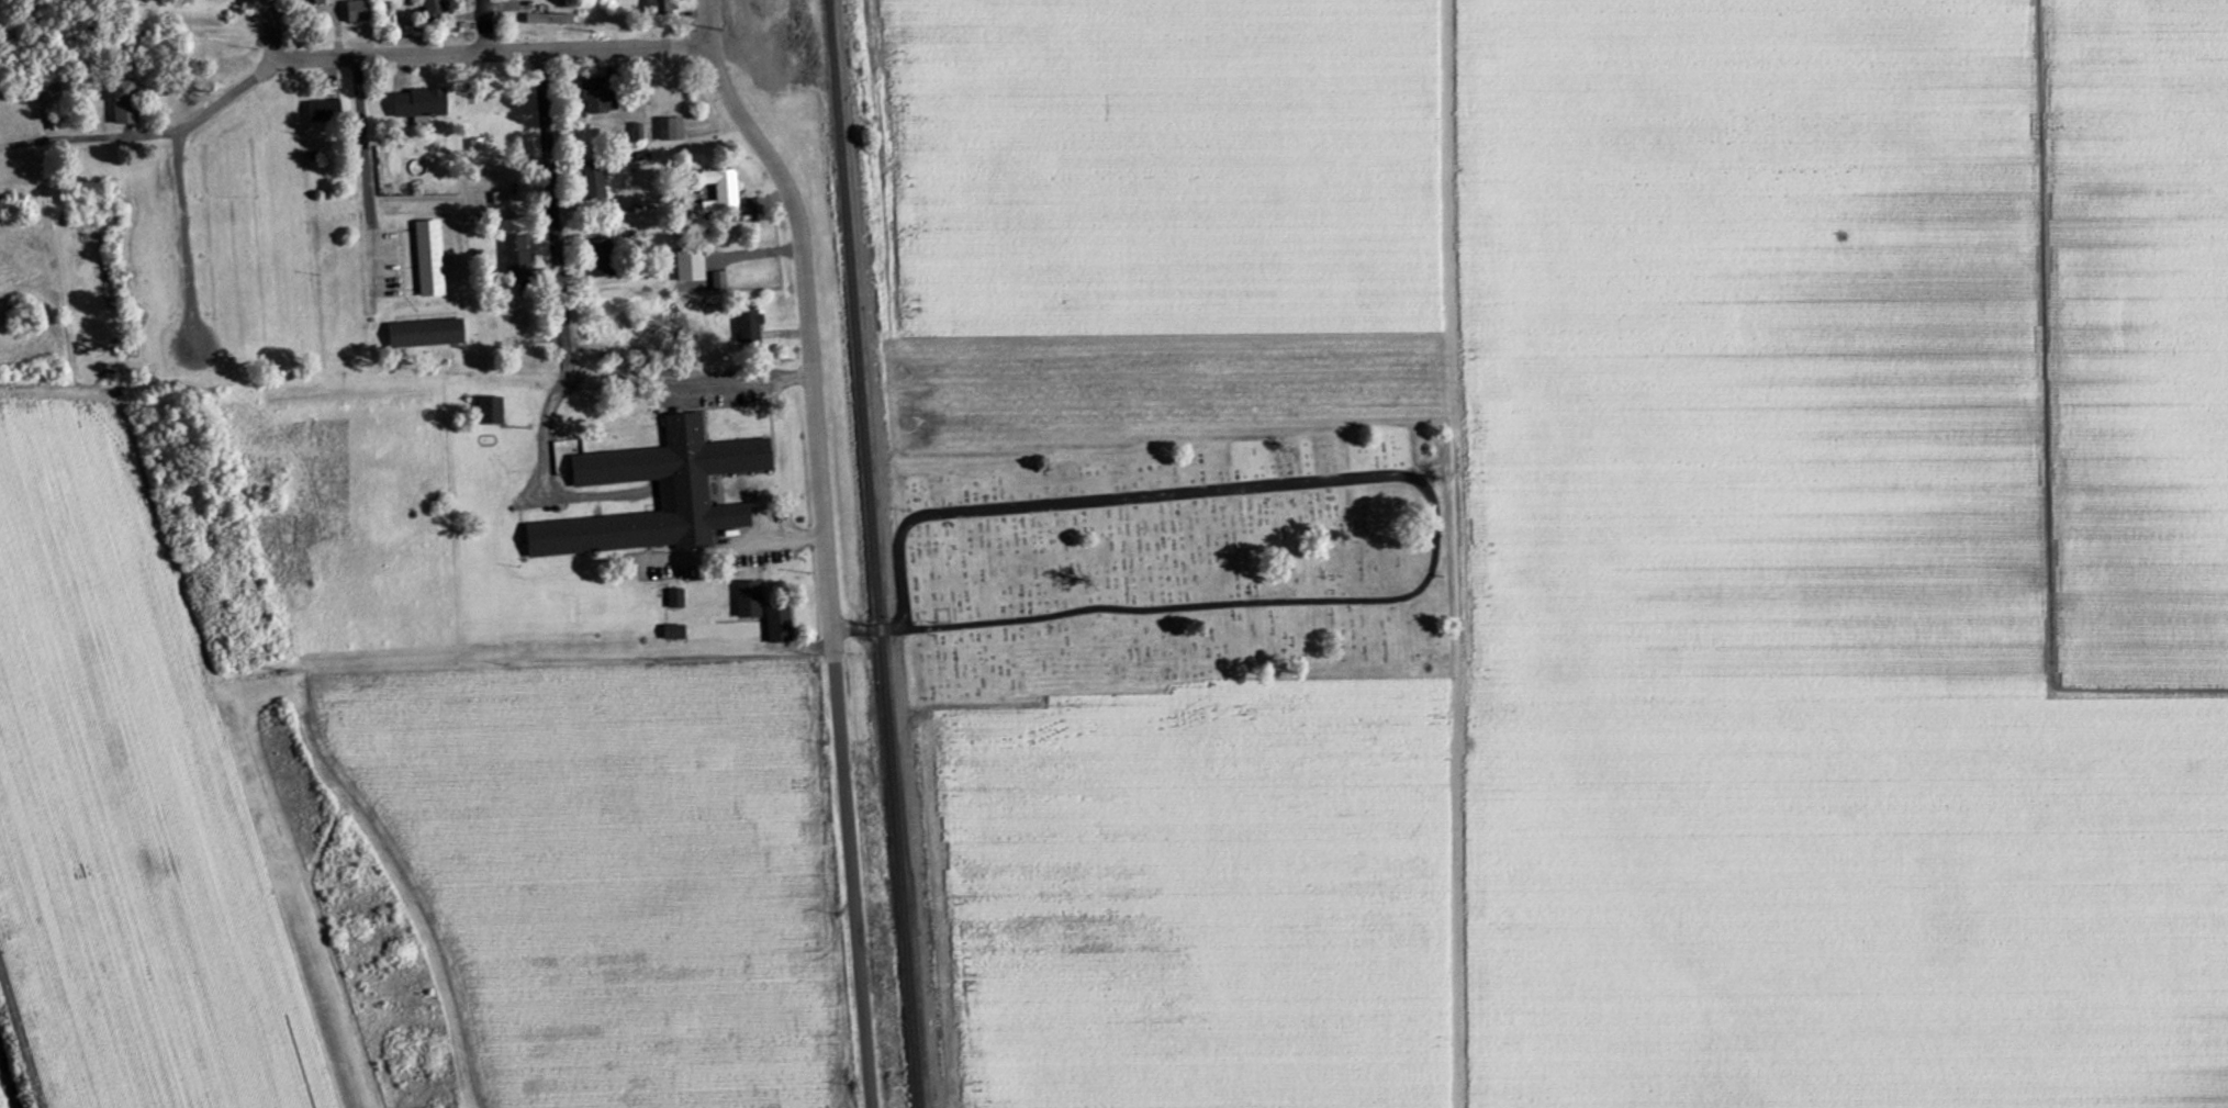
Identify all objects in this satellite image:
building: (317, 2)
building: (658, 5)
building: (352, 12)
building: (437, 14)
building: (546, 20)
road: (483, 26)
road: (269, 34)
road: (334, 59)
road: (70, 79)
building: (591, 96)
building: (119, 103)
building: (415, 104)
building: (322, 111)
building: (669, 130)
building: (636, 132)
road: (366, 177)
building: (591, 183)
building: (724, 194)
road: (555, 217)
road: (796, 240)
building: (513, 257)
building: (426, 259)
building: (598, 259)
building: (686, 267)
building: (716, 282)
building: (746, 325)
building: (422, 334)
road: (687, 383)
building: (486, 412)
building: (680, 484)
road: (546, 490)
railway: (875, 553)
park: (1176, 564)
building: (674, 598)
building: (746, 601)
building: (775, 626)
building: (670, 634)
road: (846, 805)

